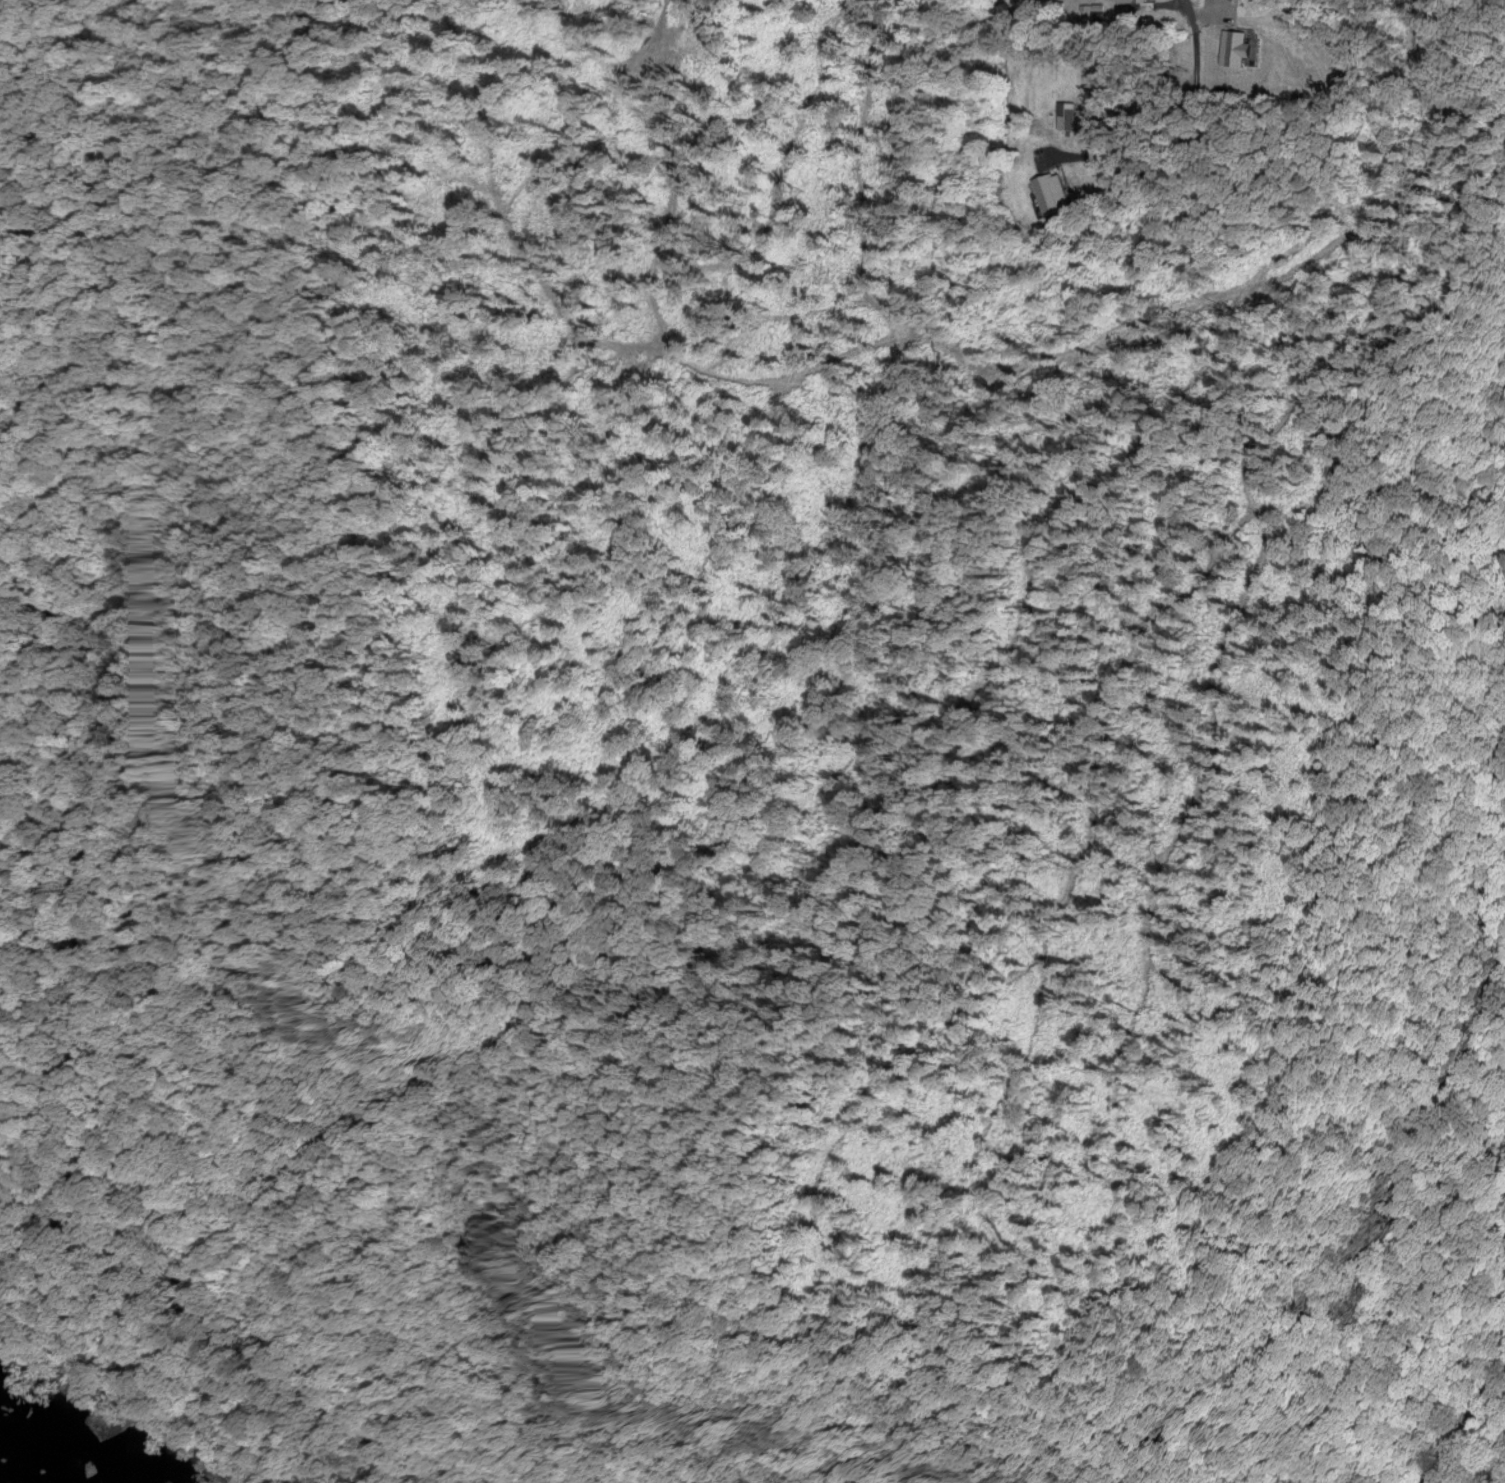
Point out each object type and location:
building: (1237, 47)
road: (1172, 118)
building: (1052, 194)
road: (216, 1324)
road: (1457, 1416)
river: (2, 1481)

